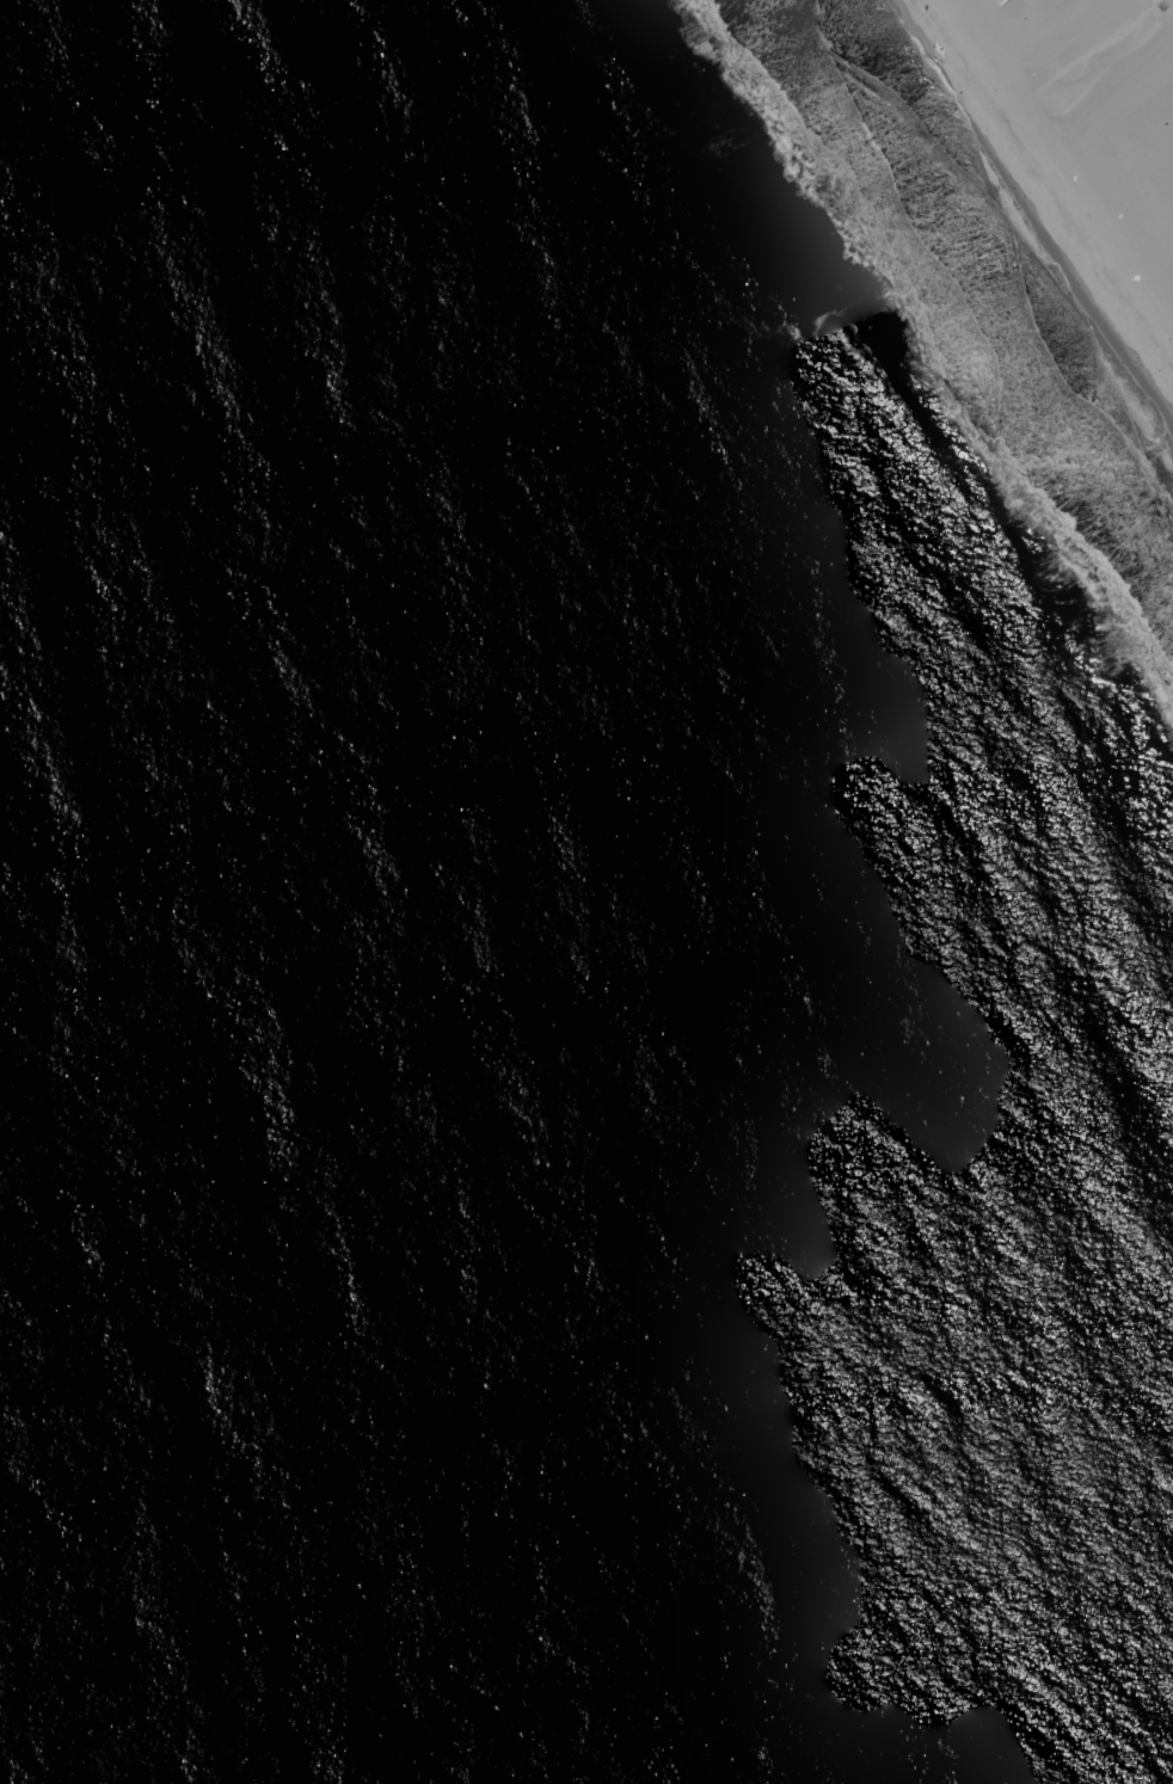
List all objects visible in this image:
building: (1011, 2)

